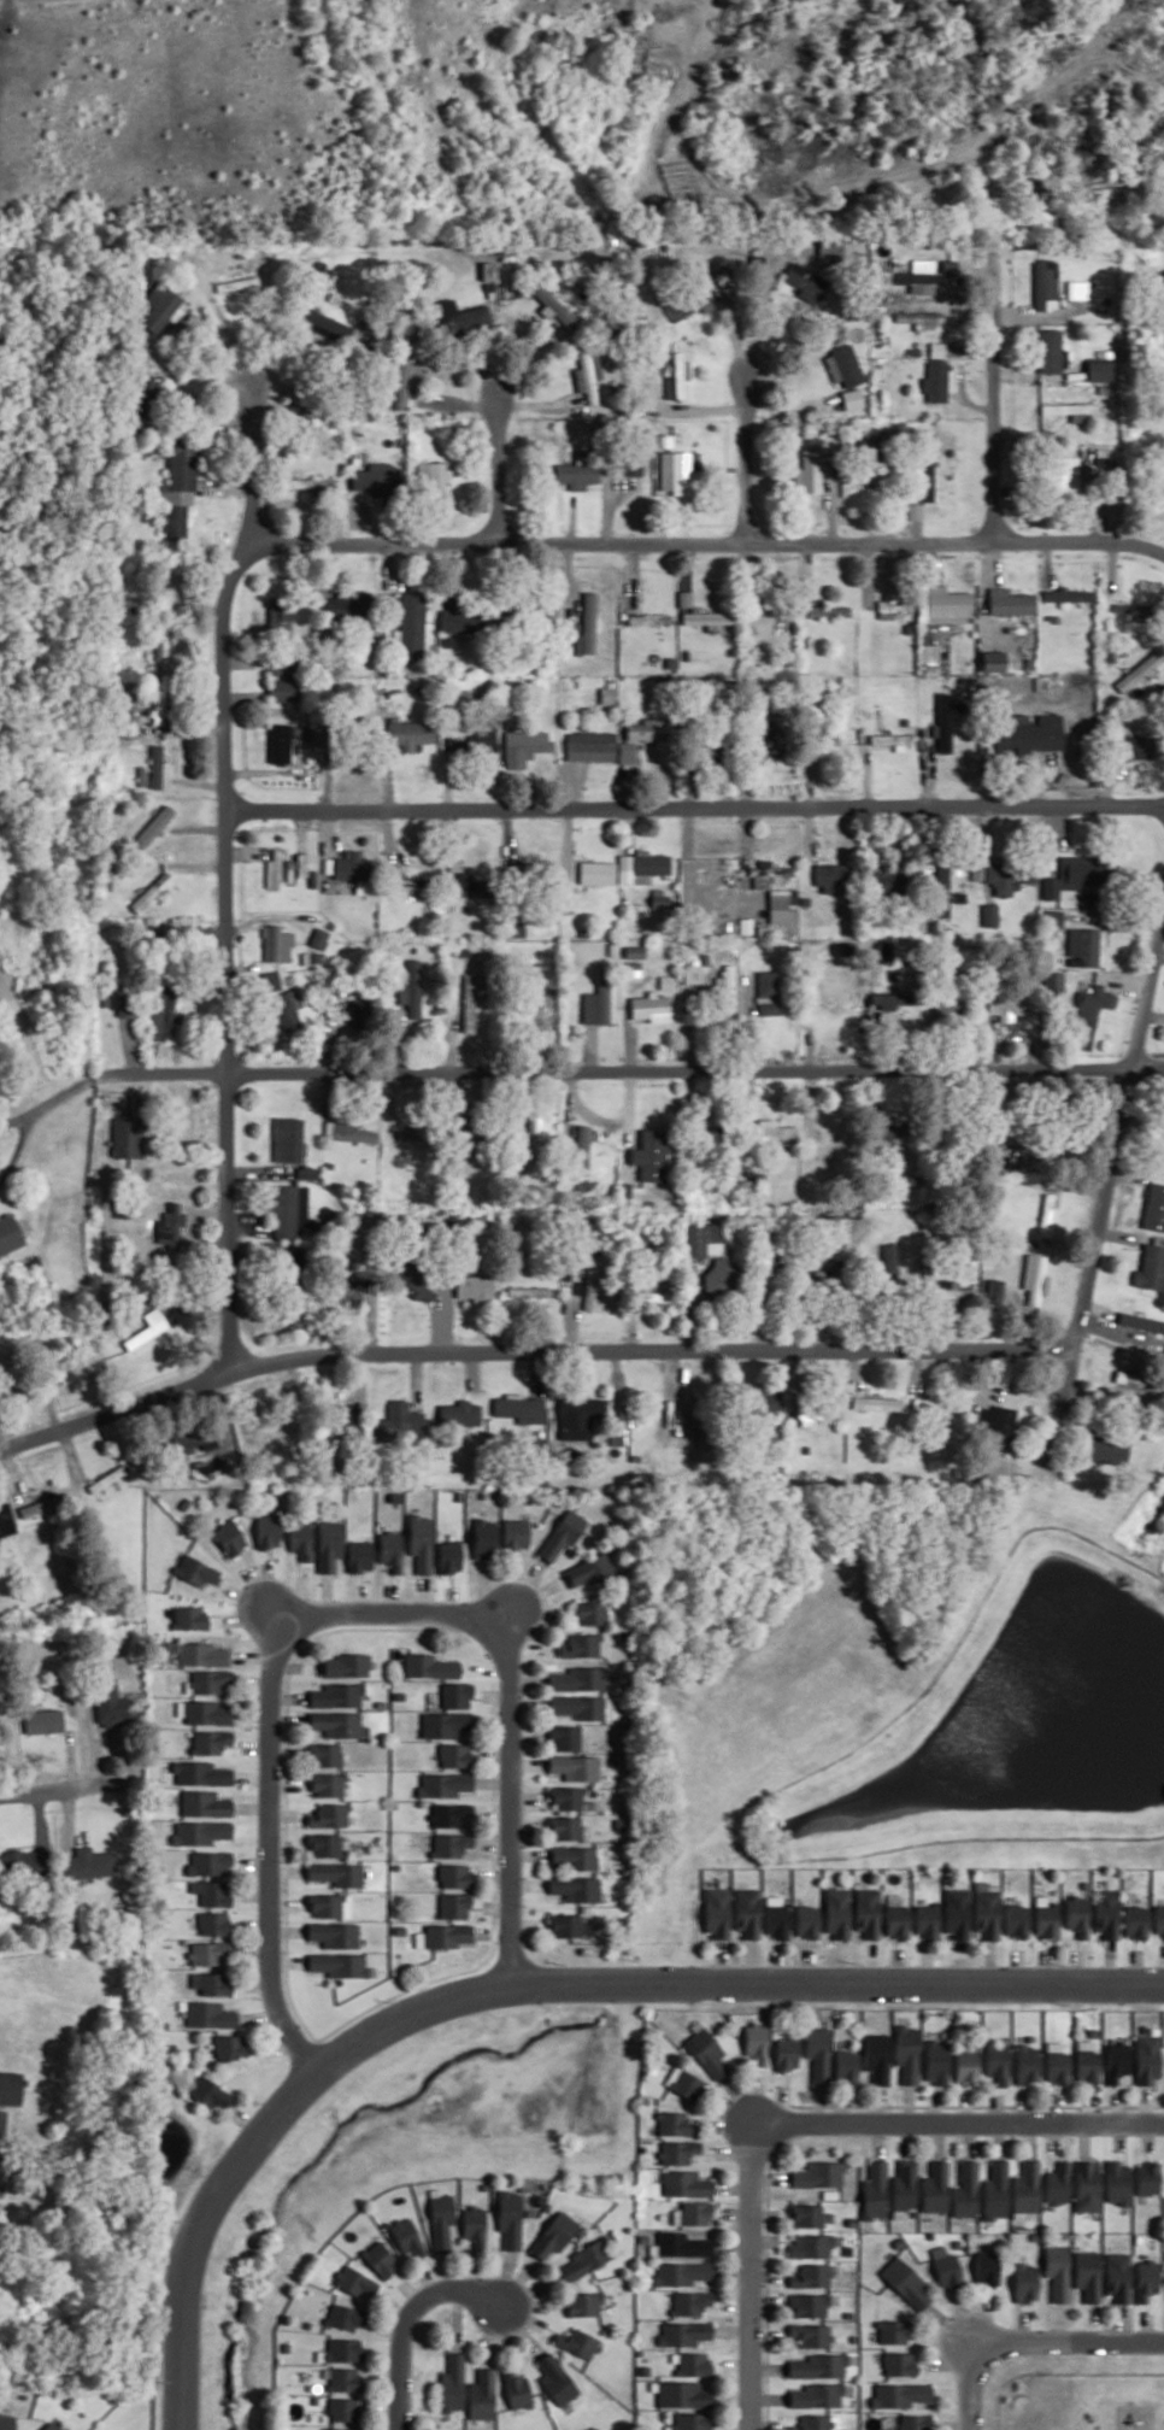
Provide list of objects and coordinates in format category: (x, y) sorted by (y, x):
building: (829, 250)
building: (950, 266)
building: (489, 270)
building: (918, 272)
building: (237, 283)
building: (806, 283)
building: (1046, 283)
building: (1077, 288)
building: (688, 303)
building: (160, 306)
building: (554, 306)
building: (922, 318)
building: (465, 321)
building: (327, 323)
building: (937, 348)
building: (1050, 350)
building: (843, 364)
building: (1099, 369)
building: (588, 374)
building: (677, 376)
building: (406, 378)
building: (151, 388)
road: (995, 389)
building: (852, 398)
building: (1069, 410)
building: (1044, 435)
road: (748, 462)
building: (631, 465)
road: (257, 466)
road: (500, 469)
building: (809, 470)
building: (865, 471)
building: (678, 472)
building: (925, 472)
building: (1060, 472)
building: (577, 474)
building: (431, 477)
building: (376, 479)
building: (310, 482)
building: (178, 487)
building: (913, 510)
road: (706, 544)
building: (1066, 594)
building: (686, 598)
building: (1009, 601)
building: (942, 604)
building: (892, 605)
building: (333, 607)
building: (828, 610)
building: (1134, 610)
building: (280, 614)
building: (648, 618)
building: (709, 618)
building: (463, 620)
building: (587, 626)
building: (411, 627)
building: (161, 644)
building: (928, 658)
building: (993, 659)
building: (282, 667)
building: (1140, 670)
building: (283, 689)
building: (607, 694)
building: (159, 703)
building: (943, 722)
building: (651, 729)
building: (765, 729)
building: (411, 733)
building: (1028, 733)
building: (896, 740)
building: (280, 742)
building: (524, 745)
building: (590, 745)
building: (1135, 745)
building: (483, 751)
building: (628, 751)
building: (157, 765)
road: (695, 809)
building: (154, 826)
building: (301, 864)
building: (641, 865)
building: (518, 868)
building: (274, 869)
building: (596, 873)
building: (877, 873)
building: (769, 874)
building: (1074, 874)
building: (1009, 875)
building: (833, 876)
building: (942, 890)
building: (152, 891)
building: (781, 906)
building: (989, 914)
building: (1053, 917)
building: (319, 938)
building: (277, 943)
building: (1084, 946)
building: (635, 951)
road: (227, 957)
building: (633, 968)
building: (693, 970)
building: (271, 979)
building: (666, 981)
building: (1052, 982)
building: (727, 987)
building: (411, 988)
building: (768, 992)
building: (892, 998)
building: (598, 999)
building: (469, 1002)
building: (1093, 1003)
building: (651, 1006)
building: (948, 1006)
building: (1005, 1006)
building: (286, 1009)
building: (163, 1014)
road: (635, 1072)
road: (37, 1117)
building: (347, 1131)
building: (775, 1133)
building: (466, 1134)
building: (130, 1135)
building: (883, 1135)
building: (288, 1138)
building: (534, 1144)
building: (583, 1149)
building: (652, 1155)
building: (756, 1175)
road: (1105, 1203)
building: (1154, 1207)
building: (289, 1209)
building: (1047, 1210)
building: (171, 1225)
building: (10, 1233)
building: (704, 1238)
building: (36, 1258)
building: (889, 1262)
building: (1151, 1266)
building: (721, 1276)
building: (1033, 1276)
building: (411, 1278)
building: (474, 1285)
building: (590, 1285)
building: (954, 1290)
building: (994, 1290)
building: (529, 1291)
building: (345, 1292)
building: (654, 1293)
building: (1141, 1321)
building: (147, 1327)
road: (530, 1352)
building: (1162, 1386)
building: (766, 1399)
building: (877, 1402)
building: (925, 1403)
building: (952, 1404)
building: (518, 1408)
building: (459, 1413)
building: (342, 1416)
building: (577, 1416)
building: (400, 1422)
building: (621, 1426)
building: (998, 1426)
building: (193, 1440)
building: (1107, 1449)
building: (108, 1477)
building: (40, 1505)
building: (6, 1520)
building: (268, 1531)
building: (516, 1533)
building: (563, 1533)
building: (230, 1537)
building: (301, 1538)
building: (484, 1538)
building: (422, 1542)
building: (330, 1544)
building: (392, 1550)
building: (360, 1556)
building: (451, 1556)
building: (196, 1569)
building: (589, 1569)
road: (394, 1613)
building: (590, 1613)
building: (189, 1616)
building: (581, 1645)
building: (200, 1654)
building: (346, 1665)
building: (430, 1666)
building: (578, 1678)
building: (210, 1681)
building: (336, 1695)
building: (455, 1695)
building: (112, 1706)
building: (582, 1706)
building: (205, 1712)
building: (43, 1720)
building: (336, 1722)
building: (447, 1724)
building: (565, 1737)
building: (211, 1741)
building: (324, 1754)
building: (454, 1755)
building: (575, 1766)
building: (201, 1773)
building: (328, 1784)
building: (443, 1784)
road: (63, 1790)
building: (565, 1797)
road: (511, 1801)
building: (205, 1803)
building: (451, 1814)
building: (329, 1815)
building: (565, 1827)
building: (201, 1831)
building: (325, 1844)
building: (451, 1844)
road: (272, 1849)
building: (576, 1857)
building: (23, 1862)
building: (211, 1862)
building: (87, 1863)
building: (337, 1873)
building: (454, 1876)
building: (576, 1888)
building: (212, 1891)
building: (330, 1904)
building: (453, 1904)
road: (496, 1904)
building: (746, 1912)
building: (984, 1912)
building: (716, 1913)
building: (836, 1913)
building: (865, 1913)
building: (956, 1913)
building: (1105, 1913)
building: (1076, 1915)
building: (1045, 1919)
building: (775, 1920)
building: (925, 1920)
building: (1015, 1920)
building: (1159, 1920)
building: (805, 1921)
building: (895, 1921)
building: (1135, 1921)
building: (213, 1923)
road: (523, 1923)
building: (569, 1925)
road: (493, 1931)
building: (335, 1933)
building: (443, 1935)
building: (210, 1953)
road: (1109, 1960)
building: (340, 1964)
road: (1045, 1965)
road: (1076, 1966)
road: (1135, 1966)
road: (896, 1980)
building: (212, 1983)
building: (208, 2014)
building: (756, 2042)
building: (230, 2047)
building: (704, 2050)
building: (786, 2053)
building: (818, 2053)
building: (907, 2053)
building: (877, 2056)
building: (1146, 2059)
building: (1116, 2060)
building: (936, 2061)
building: (998, 2061)
building: (1086, 2061)
building: (1056, 2062)
building: (1027, 2064)
building: (846, 2066)
building: (966, 2066)
building: (683, 2082)
building: (10, 2086)
road: (290, 2090)
building: (207, 2091)
road: (956, 2120)
building: (2, 2124)
building: (674, 2124)
building: (677, 2152)
road: (735, 2152)
building: (821, 2174)
road: (772, 2176)
building: (1146, 2177)
building: (1116, 2182)
building: (686, 2183)
building: (1058, 2183)
building: (482, 2184)
building: (1086, 2185)
road: (735, 2187)
building: (906, 2187)
building: (937, 2188)
building: (968, 2189)
building: (877, 2190)
building: (997, 2190)
road: (739, 2212)
building: (694, 2213)
road: (766, 2213)
building: (810, 2214)
building: (508, 2218)
building: (854, 2219)
building: (440, 2220)
building: (474, 2225)
building: (554, 2234)
building: (406, 2236)
building: (645, 2236)
building: (900, 2240)
building: (683, 2244)
road: (735, 2244)
building: (813, 2246)
building: (850, 2248)
building: (378, 2258)
street lamp: (766, 2258)
building: (584, 2260)
building: (947, 2266)
building: (988, 2267)
road: (735, 2268)
building: (1057, 2271)
building: (683, 2272)
road: (753, 2275)
building: (813, 2275)
building: (1087, 2275)
building: (1116, 2276)
building: (1145, 2279)
building: (353, 2281)
building: (1025, 2282)
building: (909, 2283)
road: (410, 2290)
road: (528, 2291)
building: (692, 2302)
road: (739, 2302)
road: (523, 2303)
building: (584, 2303)
building: (811, 2305)
road: (522, 2313)
building: (343, 2315)
road: (407, 2319)
road: (1119, 2320)
building: (305, 2322)
road: (521, 2328)
road: (734, 2329)
building: (894, 2331)
building: (686, 2332)
building: (813, 2335)
street lamp: (499, 2337)
road: (1068, 2340)
building: (578, 2342)
building: (284, 2344)
building: (341, 2349)
building: (693, 2362)
building: (901, 2362)
building: (821, 2366)
building: (342, 2378)
building: (558, 2379)
building: (454, 2383)
road: (970, 2384)
building: (518, 2389)
road: (952, 2391)
park: (1076, 2393)
building: (483, 2394)
building: (686, 2394)
building: (901, 2394)
building: (818, 2395)
building: (342, 2408)
building: (852, 2419)
building: (694, 2420)
building: (6, 2422)
building: (818, 2422)
building: (916, 2422)
road: (956, 2424)
building: (52, 2426)
building: (342, 2429)

